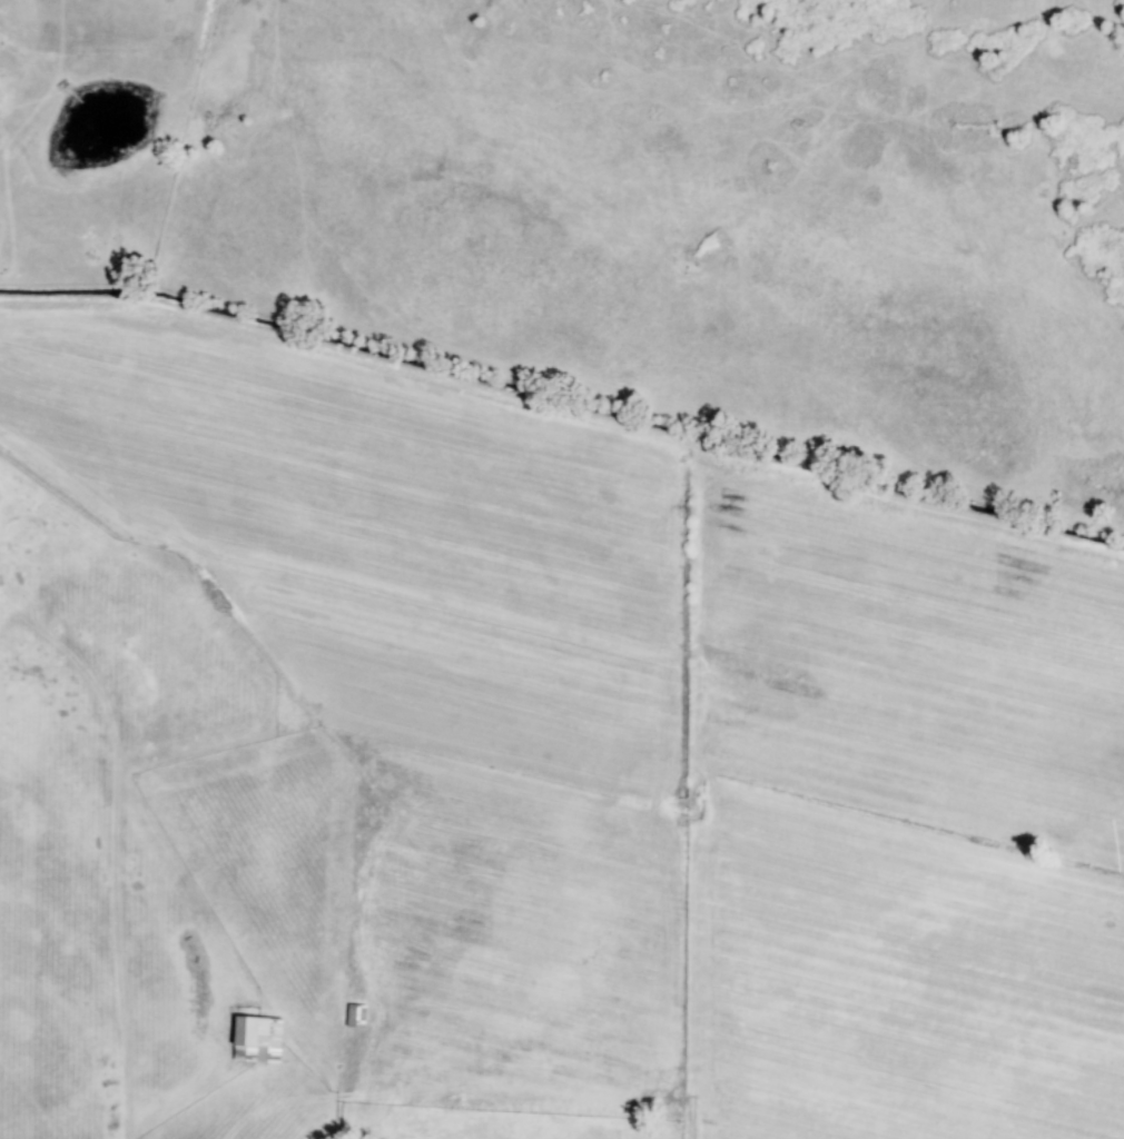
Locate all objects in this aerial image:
building: (355, 1016)
building: (256, 1040)

